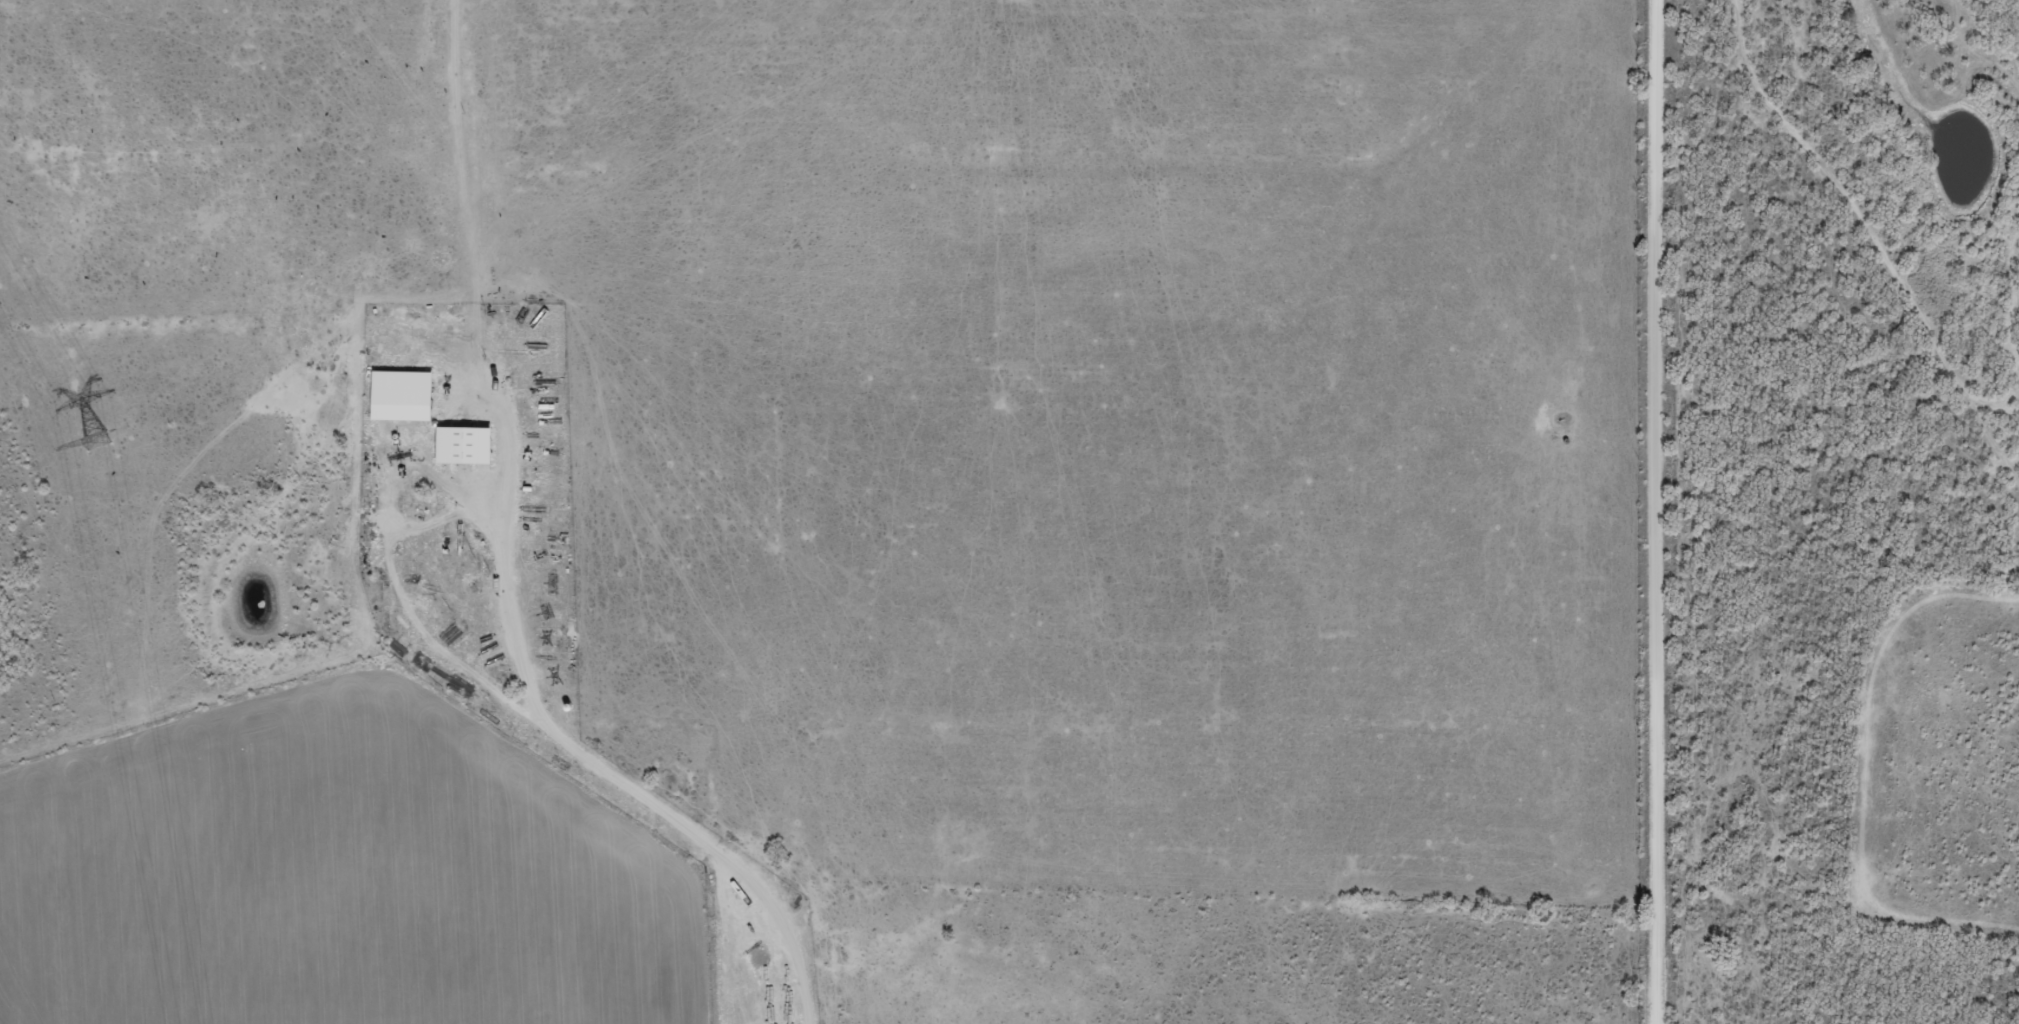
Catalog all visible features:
building: (399, 393)
power tower: (95, 440)
building: (461, 444)
road: (1667, 511)
road: (617, 778)
road: (1558, 905)

